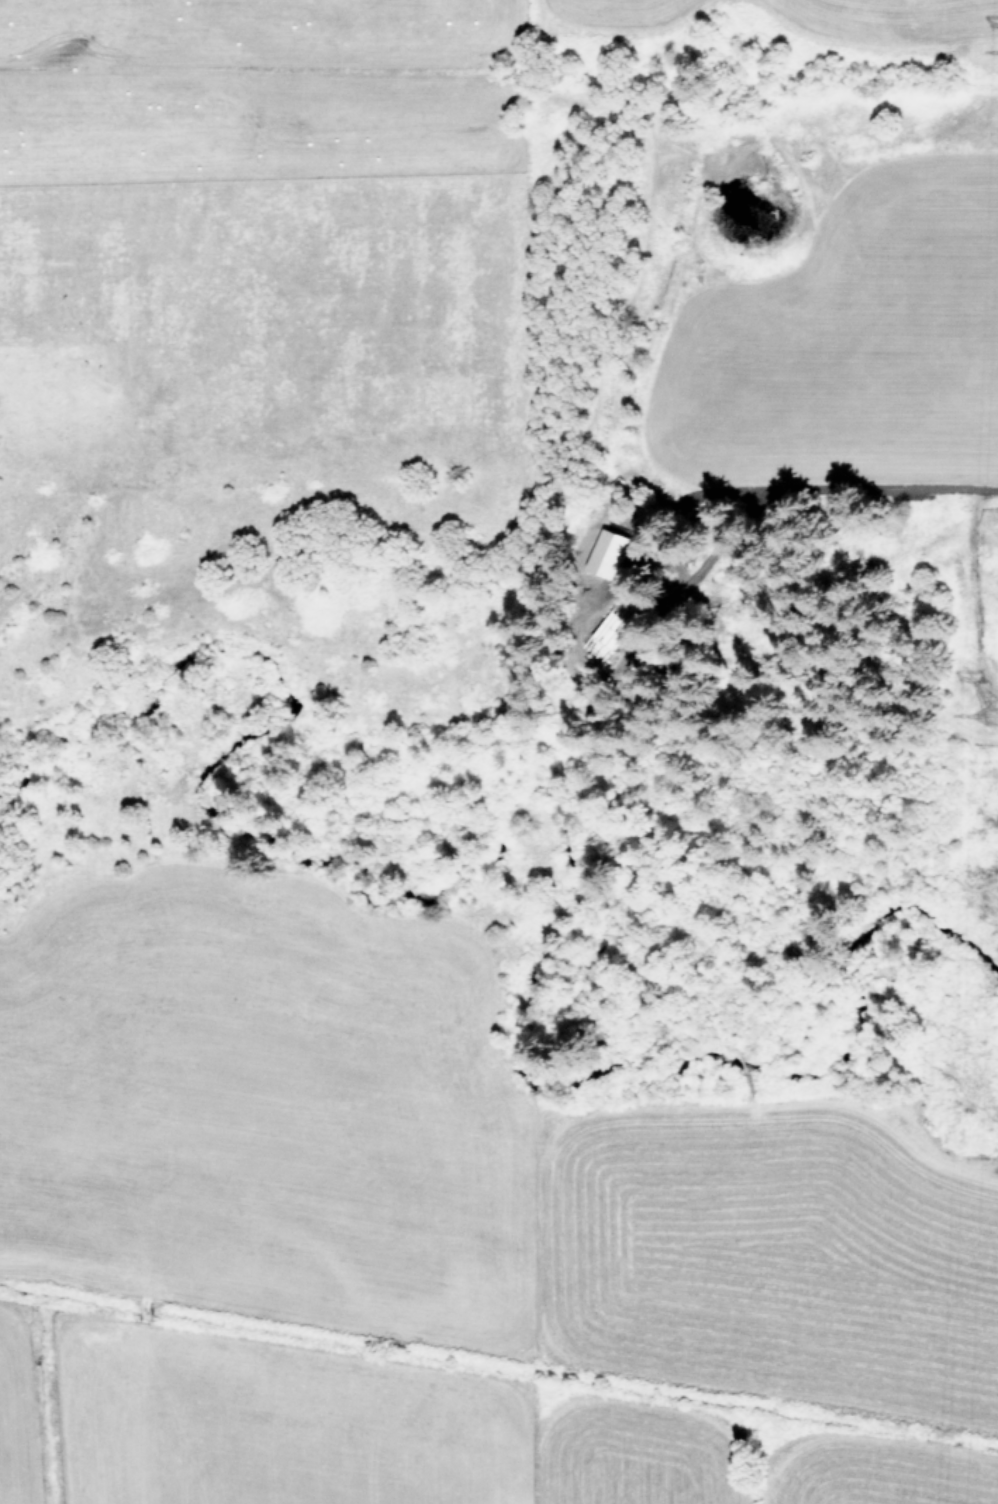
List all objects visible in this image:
road: (821, 485)
power tower: (997, 728)
crop: (442, 1247)

